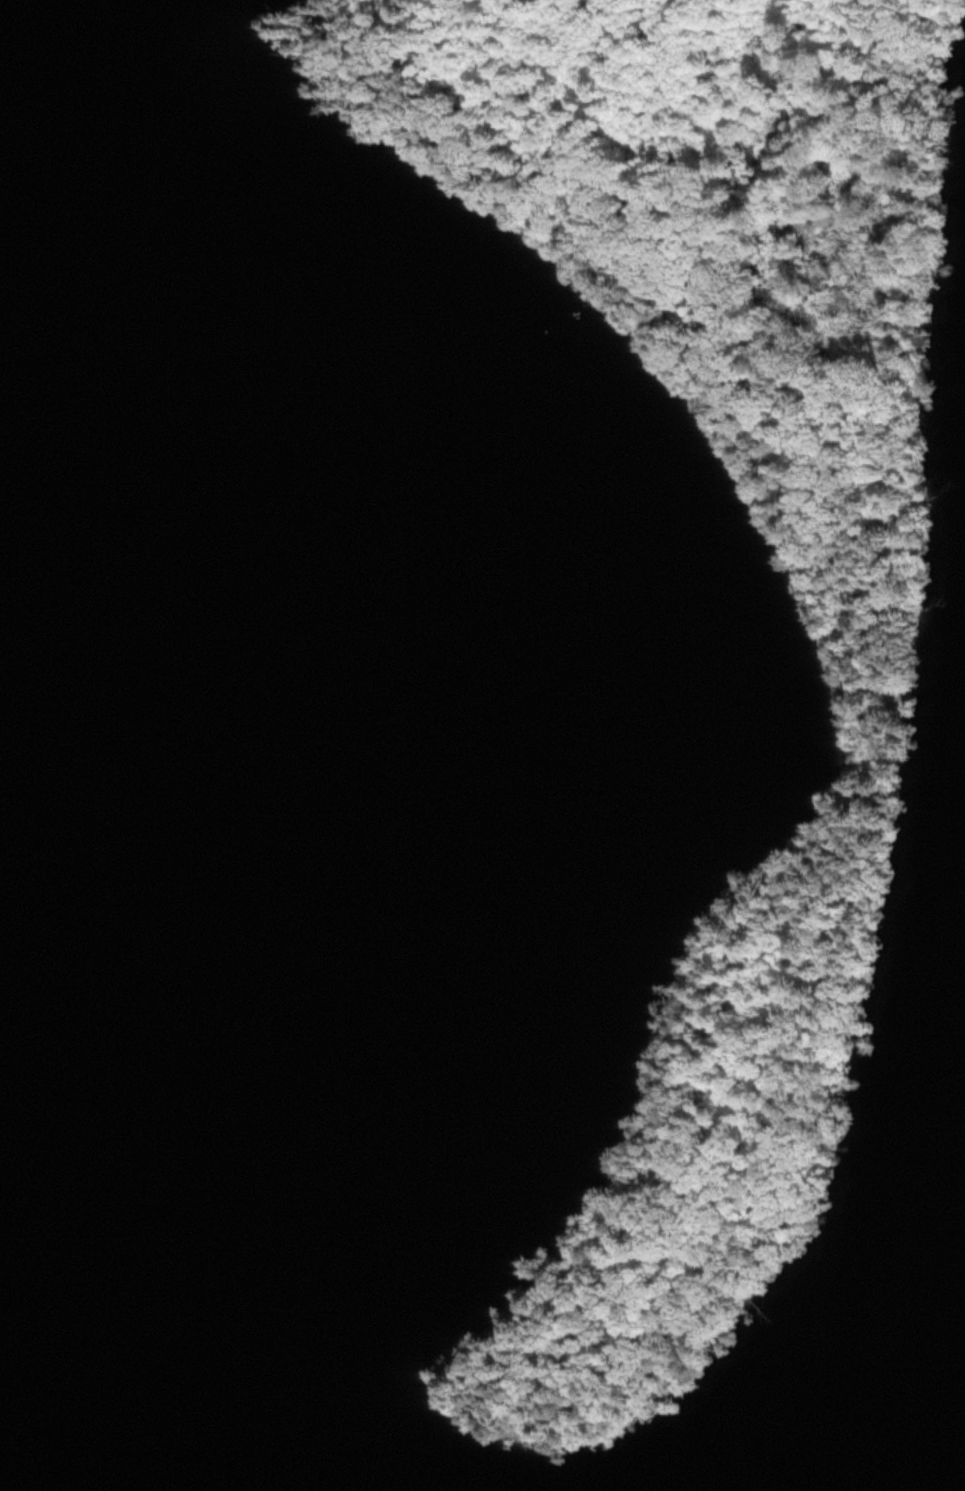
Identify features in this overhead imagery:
building: (675, 314)
park: (877, 727)

